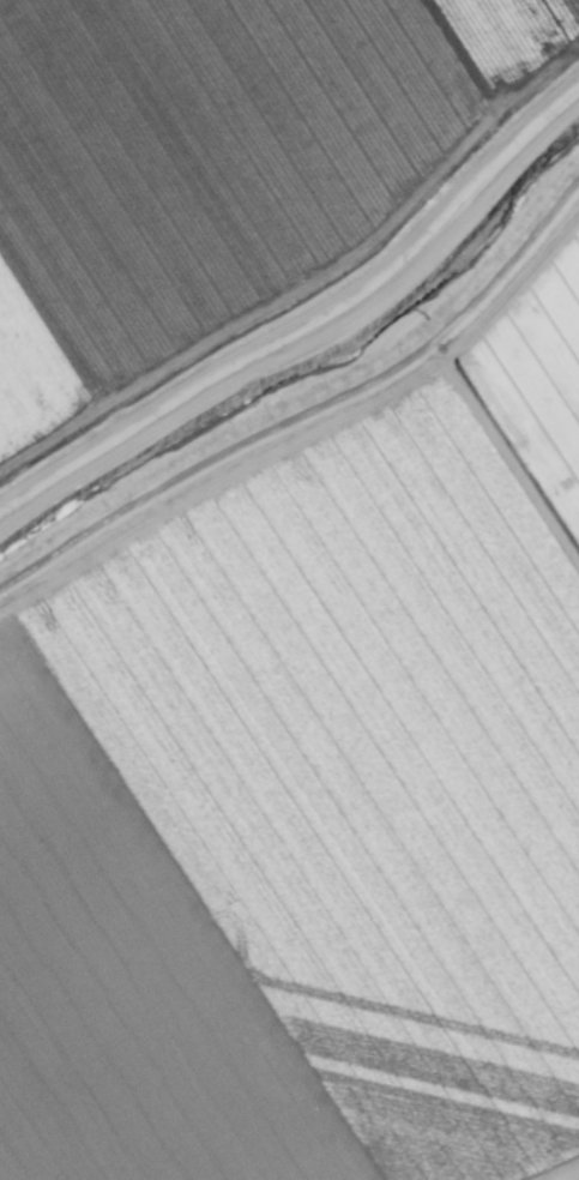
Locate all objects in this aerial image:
road: (314, 422)
crop: (289, 590)
road: (568, 1175)

